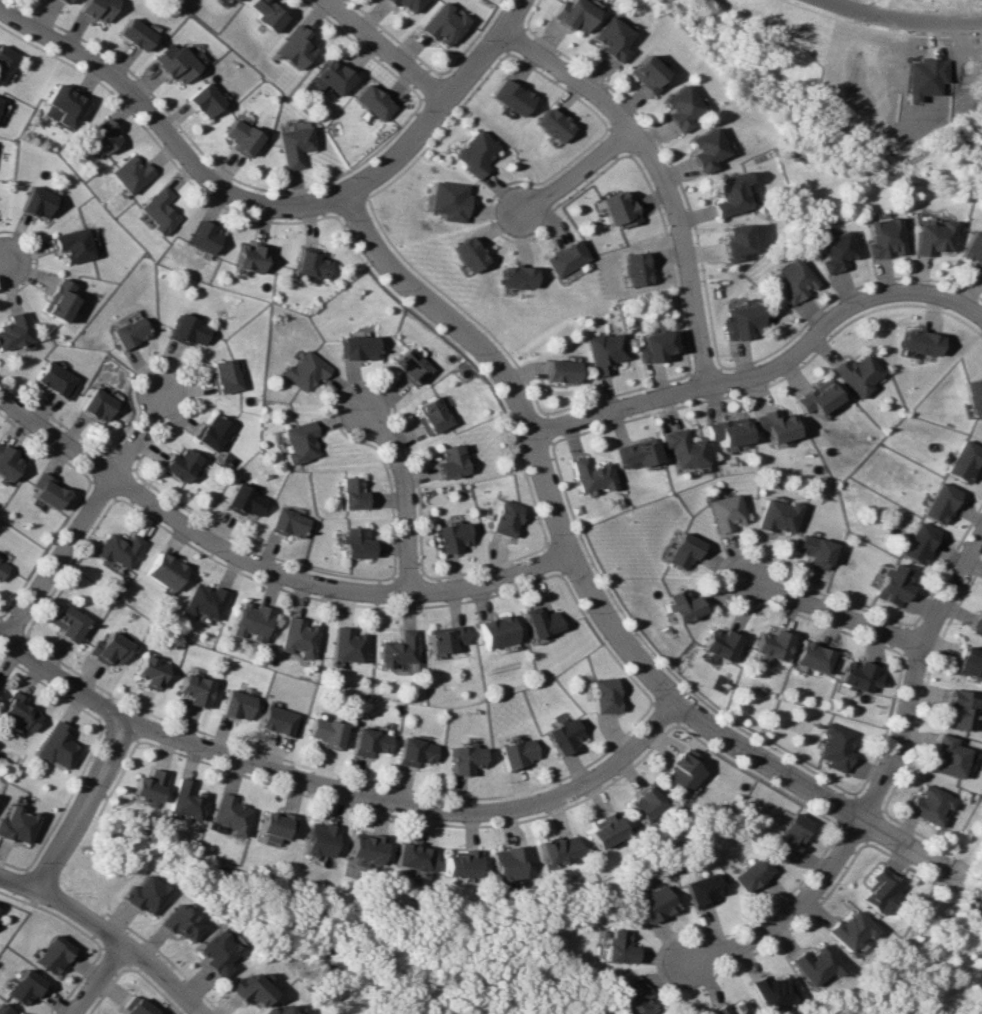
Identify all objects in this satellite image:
building: (233, 0)
building: (63, 1)
building: (403, 4)
building: (96, 9)
building: (266, 13)
building: (572, 14)
road: (899, 20)
building: (440, 24)
building: (133, 34)
building: (610, 38)
building: (295, 47)
road: (382, 52)
building: (5, 60)
building: (173, 62)
building: (644, 73)
building: (333, 76)
building: (509, 96)
building: (203, 100)
building: (372, 101)
building: (62, 105)
road: (441, 105)
building: (678, 107)
building: (551, 124)
road: (166, 133)
building: (100, 136)
building: (239, 136)
building: (293, 145)
building: (704, 149)
building: (474, 153)
building: (129, 173)
road: (575, 175)
road: (658, 175)
building: (727, 194)
building: (448, 200)
building: (36, 201)
building: (617, 209)
building: (157, 210)
building: (202, 237)
building: (883, 237)
building: (932, 238)
building: (732, 242)
building: (72, 244)
building: (834, 251)
building: (973, 251)
building: (468, 254)
building: (249, 257)
building: (564, 257)
road: (7, 262)
building: (310, 262)
building: (635, 268)
building: (517, 276)
building: (791, 280)
building: (57, 300)
road: (838, 312)
building: (740, 321)
building: (188, 330)
building: (14, 331)
building: (129, 332)
building: (922, 342)
building: (654, 346)
building: (357, 347)
building: (604, 351)
building: (410, 365)
building: (305, 370)
building: (560, 371)
building: (859, 373)
building: (225, 375)
building: (55, 381)
building: (974, 396)
building: (819, 397)
building: (97, 405)
road: (621, 410)
building: (431, 415)
building: (776, 425)
building: (728, 431)
building: (213, 432)
road: (532, 433)
road: (54, 437)
building: (298, 441)
building: (683, 448)
building: (637, 454)
building: (963, 460)
building: (450, 461)
building: (7, 463)
building: (180, 464)
building: (592, 475)
building: (46, 491)
building: (352, 493)
road: (403, 495)
building: (244, 501)
building: (939, 502)
building: (725, 512)
road: (86, 515)
building: (778, 516)
building: (505, 518)
building: (287, 523)
building: (451, 536)
building: (355, 542)
building: (917, 543)
building: (118, 549)
building: (815, 550)
building: (683, 551)
building: (2, 566)
building: (164, 570)
building: (893, 584)
road: (328, 587)
road: (951, 589)
building: (204, 601)
building: (682, 605)
road: (832, 613)
building: (250, 621)
building: (538, 621)
building: (66, 622)
building: (977, 625)
building: (495, 631)
building: (297, 636)
building: (444, 638)
building: (347, 644)
building: (719, 644)
building: (772, 645)
building: (107, 648)
building: (397, 649)
building: (816, 658)
building: (969, 662)
building: (149, 671)
building: (857, 677)
road: (61, 680)
building: (194, 689)
building: (603, 694)
building: (236, 704)
building: (958, 710)
building: (16, 713)
building: (279, 721)
building: (325, 732)
building: (563, 735)
building: (369, 742)
building: (53, 745)
building: (836, 746)
building: (414, 751)
building: (516, 753)
building: (948, 756)
building: (465, 758)
building: (681, 770)
building: (146, 785)
road: (807, 787)
building: (184, 799)
building: (644, 803)
road: (411, 804)
building: (929, 804)
road: (79, 806)
building: (229, 814)
building: (16, 824)
building: (274, 825)
building: (604, 829)
building: (790, 836)
building: (319, 839)
road: (845, 845)
building: (365, 847)
building: (556, 849)
building: (411, 856)
building: (507, 862)
building: (460, 864)
building: (751, 874)
road: (18, 884)
building: (700, 890)
building: (881, 890)
building: (142, 894)
building: (653, 904)
building: (179, 922)
building: (849, 930)
road: (123, 945)
building: (617, 947)
building: (215, 950)
building: (52, 954)
building: (814, 964)
road: (98, 980)
building: (25, 987)
building: (248, 988)
building: (771, 991)
building: (632, 998)
building: (736, 1007)
building: (139, 1008)
building: (4, 1010)
building: (281, 1010)

